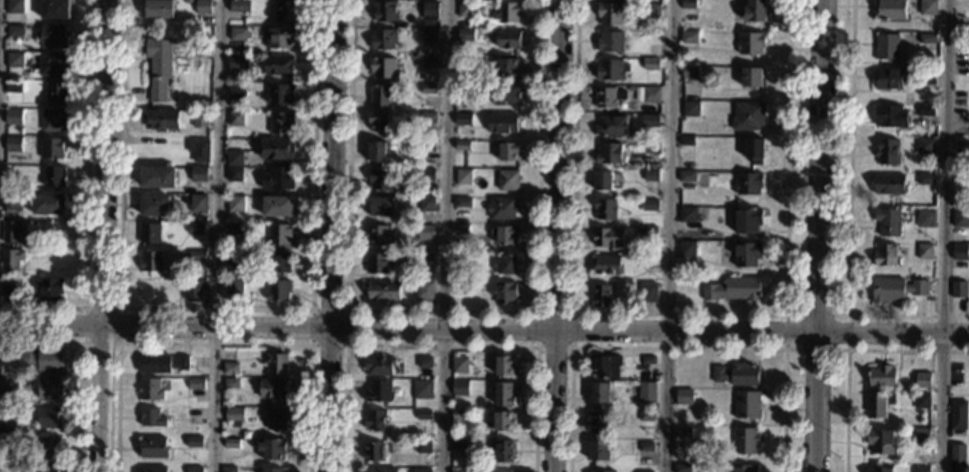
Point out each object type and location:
building: (188, 2)
building: (689, 4)
building: (239, 6)
building: (14, 7)
building: (203, 7)
building: (925, 7)
building: (466, 8)
building: (54, 9)
building: (159, 9)
building: (652, 10)
building: (891, 10)
building: (284, 11)
building: (430, 11)
building: (755, 11)
building: (385, 12)
building: (509, 12)
building: (609, 14)
building: (14, 30)
building: (238, 33)
building: (465, 34)
building: (53, 36)
building: (430, 36)
building: (689, 37)
building: (280, 38)
building: (927, 38)
building: (383, 40)
building: (508, 40)
building: (609, 41)
building: (751, 43)
building: (887, 47)
building: (14, 60)
building: (237, 62)
building: (429, 63)
building: (53, 64)
building: (650, 64)
building: (464, 65)
building: (278, 66)
building: (158, 67)
building: (383, 67)
building: (507, 68)
building: (610, 70)
building: (689, 75)
building: (752, 77)
building: (926, 77)
building: (888, 79)
building: (13, 87)
building: (428, 89)
building: (464, 90)
building: (236, 91)
building: (56, 92)
building: (279, 94)
building: (505, 95)
building: (650, 95)
building: (380, 96)
building: (607, 98)
building: (691, 109)
building: (926, 111)
building: (748, 116)
building: (890, 116)
building: (13, 118)
building: (202, 118)
building: (236, 118)
building: (159, 120)
building: (464, 120)
building: (54, 121)
building: (429, 121)
building: (650, 121)
building: (281, 123)
building: (380, 123)
building: (502, 124)
building: (611, 126)
building: (686, 142)
building: (12, 145)
building: (463, 146)
building: (429, 147)
building: (925, 147)
building: (51, 148)
building: (962, 149)
building: (278, 150)
building: (198, 151)
building: (755, 152)
building: (377, 153)
building: (508, 153)
building: (887, 153)
building: (608, 155)
building: (235, 158)
building: (198, 175)
building: (235, 175)
building: (427, 175)
building: (651, 177)
building: (686, 177)
building: (53, 178)
building: (158, 178)
building: (464, 178)
building: (278, 180)
building: (381, 180)
building: (927, 180)
building: (508, 181)
building: (602, 181)
building: (748, 184)
building: (888, 185)
road: (85, 195)
building: (12, 202)
building: (463, 203)
building: (48, 204)
building: (199, 204)
building: (235, 204)
building: (428, 205)
building: (649, 206)
building: (154, 207)
building: (382, 207)
building: (277, 208)
building: (501, 209)
building: (605, 210)
building: (687, 216)
road: (848, 218)
building: (926, 219)
building: (748, 221)
building: (891, 221)
building: (961, 221)
building: (196, 229)
building: (233, 229)
building: (462, 230)
building: (11, 232)
building: (649, 232)
building: (426, 233)
building: (149, 235)
road: (217, 235)
building: (279, 235)
building: (505, 235)
road: (556, 235)
road: (667, 235)
road: (102, 236)
road: (332, 236)
road: (444, 236)
road: (818, 236)
road: (946, 236)
building: (379, 237)
building: (608, 237)
building: (686, 250)
building: (925, 252)
building: (960, 252)
building: (747, 254)
building: (887, 256)
building: (197, 257)
building: (427, 258)
building: (11, 259)
building: (233, 261)
building: (151, 264)
building: (282, 264)
building: (377, 265)
building: (507, 265)
building: (607, 266)
building: (8, 284)
building: (233, 288)
building: (49, 289)
building: (460, 289)
building: (196, 290)
building: (959, 290)
building: (733, 291)
building: (897, 291)
building: (278, 292)
building: (384, 292)
building: (425, 292)
building: (505, 294)
building: (648, 294)
building: (602, 296)
road: (118, 307)
road: (215, 308)
road: (346, 310)
road: (442, 310)
road: (571, 312)
road: (679, 313)
road: (847, 315)
road: (484, 331)
road: (213, 343)
road: (439, 345)
road: (676, 348)
road: (846, 350)
building: (41, 359)
building: (648, 360)
building: (275, 362)
building: (161, 363)
building: (424, 363)
road: (82, 365)
building: (459, 365)
building: (378, 366)
building: (504, 366)
building: (606, 367)
building: (230, 368)
building: (737, 375)
building: (881, 377)
building: (923, 381)
building: (230, 383)
building: (195, 384)
building: (9, 385)
building: (49, 388)
building: (459, 388)
building: (646, 388)
building: (271, 389)
building: (148, 390)
building: (422, 390)
building: (379, 392)
building: (600, 393)
building: (503, 394)
building: (683, 398)
building: (921, 401)
building: (746, 405)
building: (877, 406)
building: (458, 414)
building: (423, 416)
building: (646, 416)
building: (958, 416)
building: (232, 417)
building: (48, 418)
building: (151, 419)
building: (275, 419)
building: (376, 420)
building: (502, 422)
building: (598, 422)
building: (7, 428)
building: (683, 432)
building: (922, 436)
building: (745, 441)
building: (193, 442)
building: (880, 442)
building: (7, 443)
building: (230, 443)
building: (459, 444)
building: (423, 446)
building: (47, 447)
building: (152, 447)
building: (645, 448)
building: (271, 449)
building: (374, 451)
building: (500, 452)
building: (598, 454)
building: (957, 458)
building: (743, 467)
building: (46, 468)
building: (681, 468)
building: (152, 469)
building: (193, 469)
building: (228, 469)
building: (878, 469)
building: (920, 469)
building: (271, 470)
building: (379, 470)
building: (421, 470)
building: (458, 471)
building: (497, 471)
building: (603, 471)
building: (642, 471)

